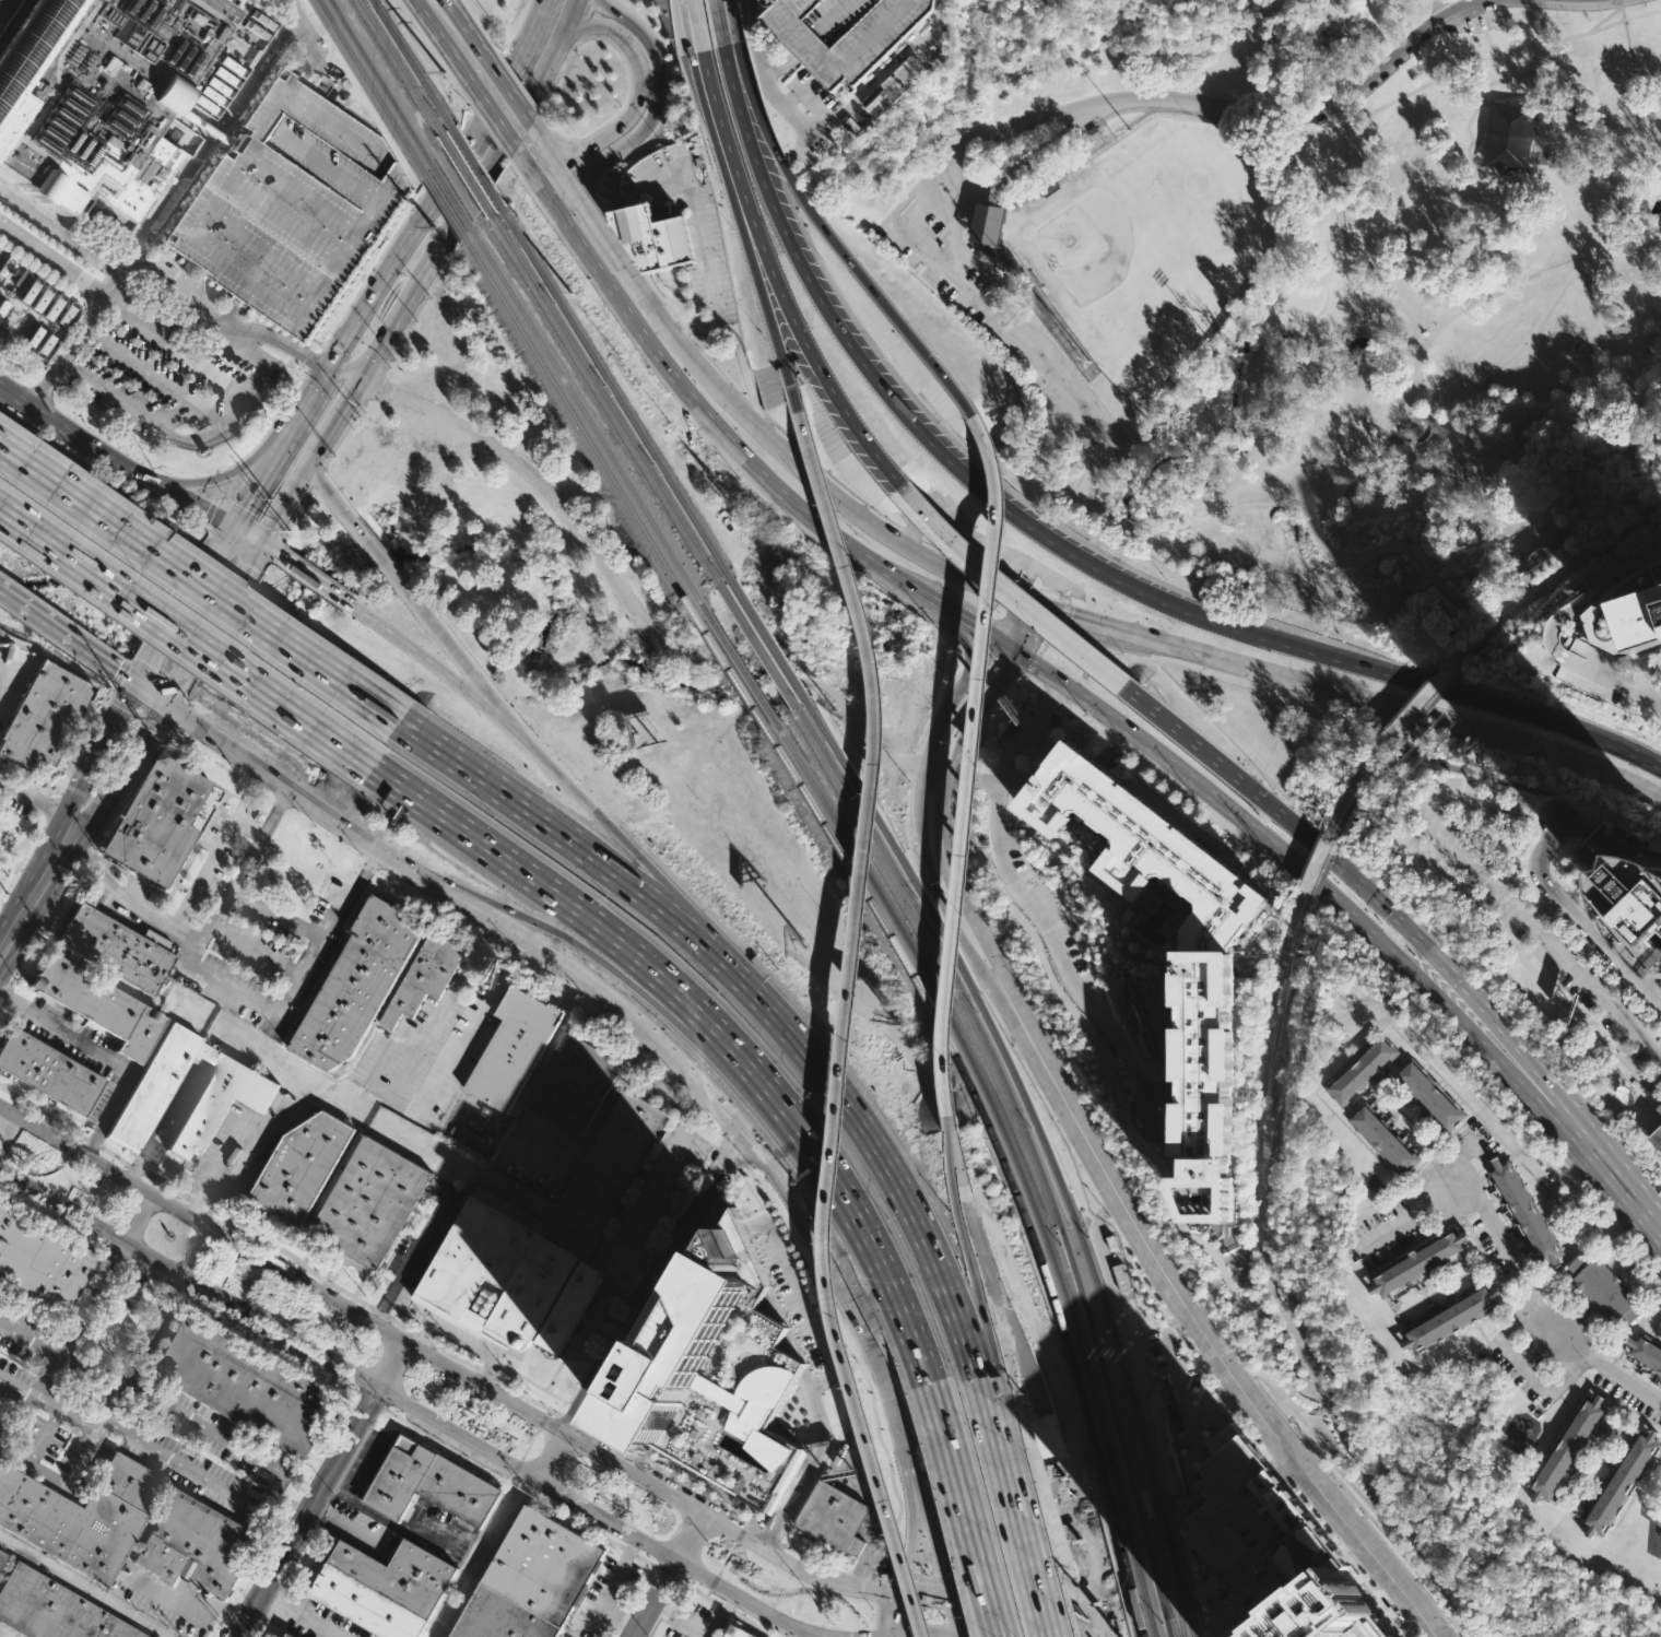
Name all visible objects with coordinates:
road: (1589, 0)
road: (1621, 2)
road: (1442, 8)
road: (1476, 8)
road: (1623, 12)
road: (473, 14)
parking lot: (1477, 14)
road: (1605, 16)
road: (458, 19)
road: (586, 20)
road: (725, 22)
road: (1482, 22)
road: (434, 28)
road: (614, 32)
building: (843, 33)
parking garage: (843, 33)
road: (1488, 42)
road: (431, 45)
road: (314, 47)
railway: (352, 54)
road: (1474, 60)
road: (779, 64)
railway: (413, 67)
road: (327, 71)
railway: (403, 71)
road: (766, 73)
road: (515, 74)
road: (1513, 78)
railway: (382, 83)
road: (504, 84)
building: (890, 84)
road: (747, 86)
road: (738, 90)
building: (94, 92)
road: (658, 96)
road: (1635, 96)
road: (1486, 102)
road: (487, 106)
road: (716, 115)
road: (531, 116)
road: (485, 125)
road: (1012, 125)
road: (223, 128)
building: (1508, 133)
road: (608, 137)
road: (1479, 141)
railway: (407, 142)
road: (549, 149)
road: (620, 156)
road: (492, 158)
road: (1470, 158)
road: (579, 160)
railway: (471, 161)
road: (1020, 166)
road: (529, 168)
railway: (466, 170)
road: (549, 174)
road: (443, 175)
road: (567, 176)
road: (427, 178)
road: (544, 191)
road: (563, 193)
railway: (451, 196)
railway: (446, 204)
building: (295, 207)
parking lot: (295, 207)
building: (990, 222)
road: (60, 231)
building: (652, 235)
park: (1151, 245)
road: (1347, 247)
road: (702, 249)
road: (773, 273)
road: (1535, 274)
road: (862, 275)
road: (762, 276)
park: (1292, 284)
building: (31, 290)
building: (43, 298)
building: (55, 306)
road: (205, 307)
road: (233, 313)
building: (67, 314)
road: (151, 321)
road: (66, 322)
road: (682, 325)
road: (83, 330)
parking lot: (123, 331)
road: (1430, 333)
building: (33, 338)
road: (378, 345)
building: (45, 346)
road: (330, 356)
road: (1419, 357)
road: (195, 358)
road: (315, 362)
traffic signals: (325, 366)
road: (782, 367)
road: (342, 373)
road: (155, 378)
traffic signals: (360, 379)
road: (372, 382)
railway: (610, 384)
road: (311, 386)
railway: (603, 391)
road: (115, 393)
road: (250, 394)
road: (392, 394)
road: (839, 404)
railway: (585, 412)
road: (291, 419)
railway: (578, 419)
road: (272, 422)
road: (331, 422)
road: (715, 426)
road: (70, 432)
road: (705, 432)
road: (340, 433)
road: (197, 438)
road: (778, 444)
road: (1501, 461)
road: (219, 475)
road: (315, 476)
road: (256, 479)
road: (235, 480)
road: (843, 486)
road: (323, 491)
road: (186, 500)
road: (279, 502)
road: (999, 502)
road: (214, 503)
road: (295, 511)
road: (246, 518)
road: (576, 523)
traffic signals: (229, 525)
road: (208, 527)
road: (243, 532)
road: (222, 538)
traffic signals: (256, 540)
road: (955, 545)
road: (266, 546)
road: (274, 550)
road: (247, 553)
road: (376, 555)
road: (1348, 558)
road: (311, 579)
road: (1555, 580)
road: (202, 585)
park: (1553, 585)
road: (1560, 588)
power tower: (1570, 591)
road: (1050, 594)
road: (170, 599)
road: (182, 605)
building: (1600, 608)
road: (33, 610)
building: (1639, 611)
road: (1061, 613)
traffic signals: (1071, 616)
road: (964, 617)
road: (207, 621)
road: (1015, 622)
traffic signals: (983, 631)
road: (224, 633)
road: (962, 634)
road: (189, 635)
railway: (769, 639)
road: (1047, 640)
road: (1070, 643)
railway: (761, 645)
road: (1005, 647)
road: (451, 651)
road: (990, 655)
power tower: (1496, 656)
road: (1567, 656)
road: (419, 658)
road: (980, 658)
road: (101, 659)
road: (58, 660)
railway: (735, 661)
railway: (730, 666)
road: (1029, 667)
road: (144, 672)
road: (120, 679)
traffic signals: (1000, 681)
traffic signals: (138, 684)
road: (1029, 684)
road: (1647, 686)
road: (994, 688)
road: (958, 690)
road: (149, 692)
road: (1364, 697)
road: (1423, 697)
road: (1049, 698)
traffic signals: (161, 699)
road: (1432, 700)
building: (43, 717)
road: (986, 717)
road: (1538, 718)
road: (154, 725)
road: (1096, 730)
road: (933, 732)
road: (1138, 734)
road: (82, 747)
road: (1200, 749)
road: (98, 750)
road: (130, 753)
road: (542, 762)
road: (964, 762)
road: (1141, 762)
road: (1029, 765)
road: (939, 769)
road: (1017, 774)
road: (968, 776)
road: (976, 777)
road: (1357, 780)
road: (278, 781)
road: (1366, 785)
road: (36, 799)
road: (1189, 799)
road: (45, 800)
parking lot: (1491, 805)
road: (1177, 817)
road: (1533, 817)
building: (160, 818)
road: (539, 818)
road: (944, 826)
power tower: (1354, 833)
road: (1235, 836)
road: (26, 837)
road: (997, 838)
road: (1429, 845)
road: (1546, 845)
building: (1613, 848)
road: (212, 861)
road: (633, 864)
road: (15, 865)
road: (1314, 865)
road: (242, 867)
road: (1323, 870)
road: (1033, 871)
road: (1578, 882)
road: (38, 883)
road: (1321, 887)
road: (936, 895)
road: (1595, 897)
road: (1504, 900)
road: (484, 903)
building: (1639, 903)
road: (1550, 908)
road: (1546, 912)
road: (274, 914)
road: (1271, 915)
road: (1393, 916)
road: (1052, 927)
parking lot: (1546, 940)
road: (985, 941)
road: (0, 943)
road: (1607, 943)
road: (255, 945)
road: (1239, 947)
road: (1265, 947)
building: (117, 949)
power tower: (1310, 952)
road: (1252, 954)
road: (1276, 954)
road: (593, 958)
road: (1609, 968)
road: (1532, 969)
road: (1556, 974)
building: (424, 977)
building: (1204, 977)
building: (356, 984)
road: (1484, 990)
road: (235, 993)
road: (1435, 999)
building: (98, 1004)
road: (475, 1025)
road: (838, 1025)
road: (694, 1028)
road: (717, 1031)
road: (1118, 1038)
road: (425, 1039)
road: (1169, 1043)
road: (1624, 1043)
building: (515, 1048)
road: (106, 1060)
building: (1358, 1067)
road: (1529, 1067)
road: (1262, 1070)
building: (47, 1074)
road: (1517, 1075)
building: (573, 1083)
building: (156, 1085)
road: (1156, 1088)
road: (1077, 1091)
building: (1427, 1093)
road: (711, 1098)
building: (220, 1104)
building: (1659, 1108)
road: (1273, 1117)
building: (1382, 1137)
building: (1656, 1139)
road: (879, 1145)
railway: (1045, 1149)
road: (236, 1150)
railway: (1032, 1151)
road: (1165, 1153)
railway: (1014, 1157)
building: (613, 1159)
railway: (1006, 1159)
road: (1458, 1163)
building: (301, 1167)
road: (668, 1167)
road: (1607, 1169)
road: (185, 1197)
building: (372, 1202)
road: (1185, 1210)
building: (1525, 1213)
road: (1406, 1216)
road: (139, 1217)
road: (1180, 1225)
road: (1229, 1232)
road: (1254, 1249)
road: (200, 1251)
road: (411, 1256)
building: (42, 1261)
building: (1418, 1261)
power tower: (1241, 1269)
building: (494, 1272)
road: (1250, 1276)
road: (1640, 1285)
road: (1150, 1286)
building: (1603, 1287)
road: (1274, 1292)
road: (92, 1296)
road: (644, 1306)
road: (1542, 1307)
building: (568, 1309)
road: (379, 1312)
building: (1450, 1317)
road: (1177, 1330)
road: (252, 1332)
road: (1204, 1333)
road: (30, 1338)
road: (460, 1344)
road: (1508, 1349)
building: (1645, 1350)
road: (447, 1364)
road: (475, 1365)
road: (1174, 1365)
road: (1200, 1365)
road: (1033, 1373)
road: (47, 1375)
building: (721, 1376)
road: (1637, 1377)
road: (1567, 1378)
road: (817, 1383)
building: (247, 1385)
road: (17, 1386)
road: (1223, 1398)
road: (1621, 1401)
road: (410, 1404)
road: (1197, 1417)
road: (575, 1423)
building: (3, 1434)
road: (99, 1434)
road: (1317, 1442)
building: (1567, 1448)
road: (908, 1461)
road: (1004, 1462)
road: (680, 1467)
road: (1283, 1474)
building: (1619, 1484)
building: (431, 1485)
road: (323, 1489)
road: (275, 1492)
road: (1374, 1492)
road: (291, 1506)
road: (1354, 1507)
building: (82, 1515)
building: (837, 1517)
road: (965, 1518)
road: (385, 1520)
road: (911, 1535)
road: (933, 1536)
road: (766, 1538)
building: (1254, 1541)
parking garage: (1254, 1541)
building: (198, 1544)
road: (1348, 1544)
road: (1344, 1553)
road: (806, 1554)
road: (639, 1555)
building: (2, 1559)
road: (1032, 1565)
road: (673, 1577)
road: (921, 1578)
building: (532, 1580)
road: (613, 1586)
road: (83, 1588)
building: (387, 1588)
railway: (1176, 1589)
traffic signals: (904, 1591)
road: (927, 1593)
traffic signals: (950, 1595)
railway: (1163, 1597)
road: (1379, 1600)
road: (1010, 1602)
road: (216, 1603)
building: (54, 1610)
road: (999, 1611)
road: (303, 1613)
road: (899, 1613)
road: (624, 1615)
building: (1329, 1615)
road: (954, 1616)
building: (739, 1633)
road: (926, 1633)
traffic signals: (895, 1635)
building: (288, 1636)
road: (885, 1636)
road: (895, 1636)

